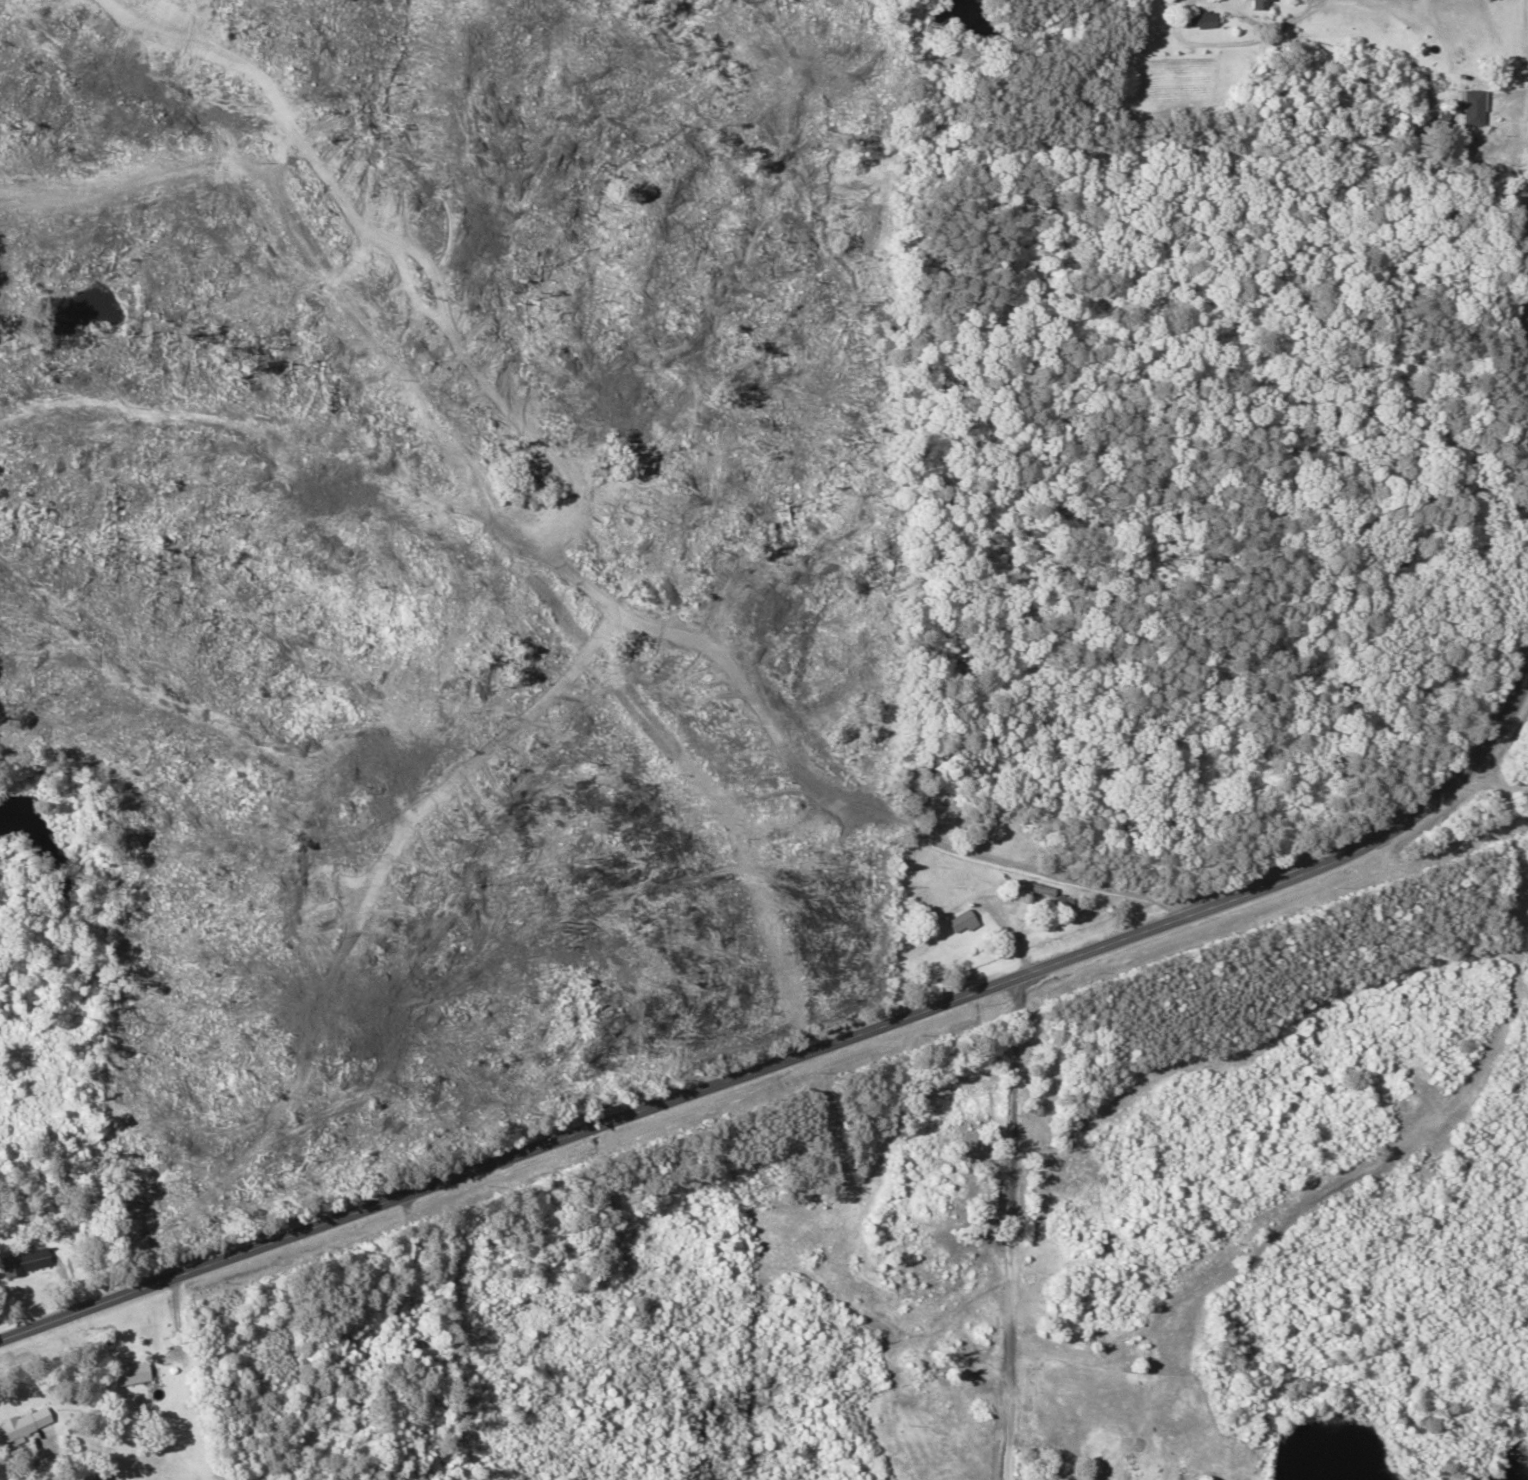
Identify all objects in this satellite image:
building: (1265, 4)
building: (1204, 19)
building: (1475, 107)
road: (1526, 277)
road: (832, 767)
building: (945, 811)
building: (964, 922)
road: (1035, 962)
road: (1009, 1226)
building: (29, 1263)
building: (127, 1373)
building: (26, 1423)
building: (345, 1428)

